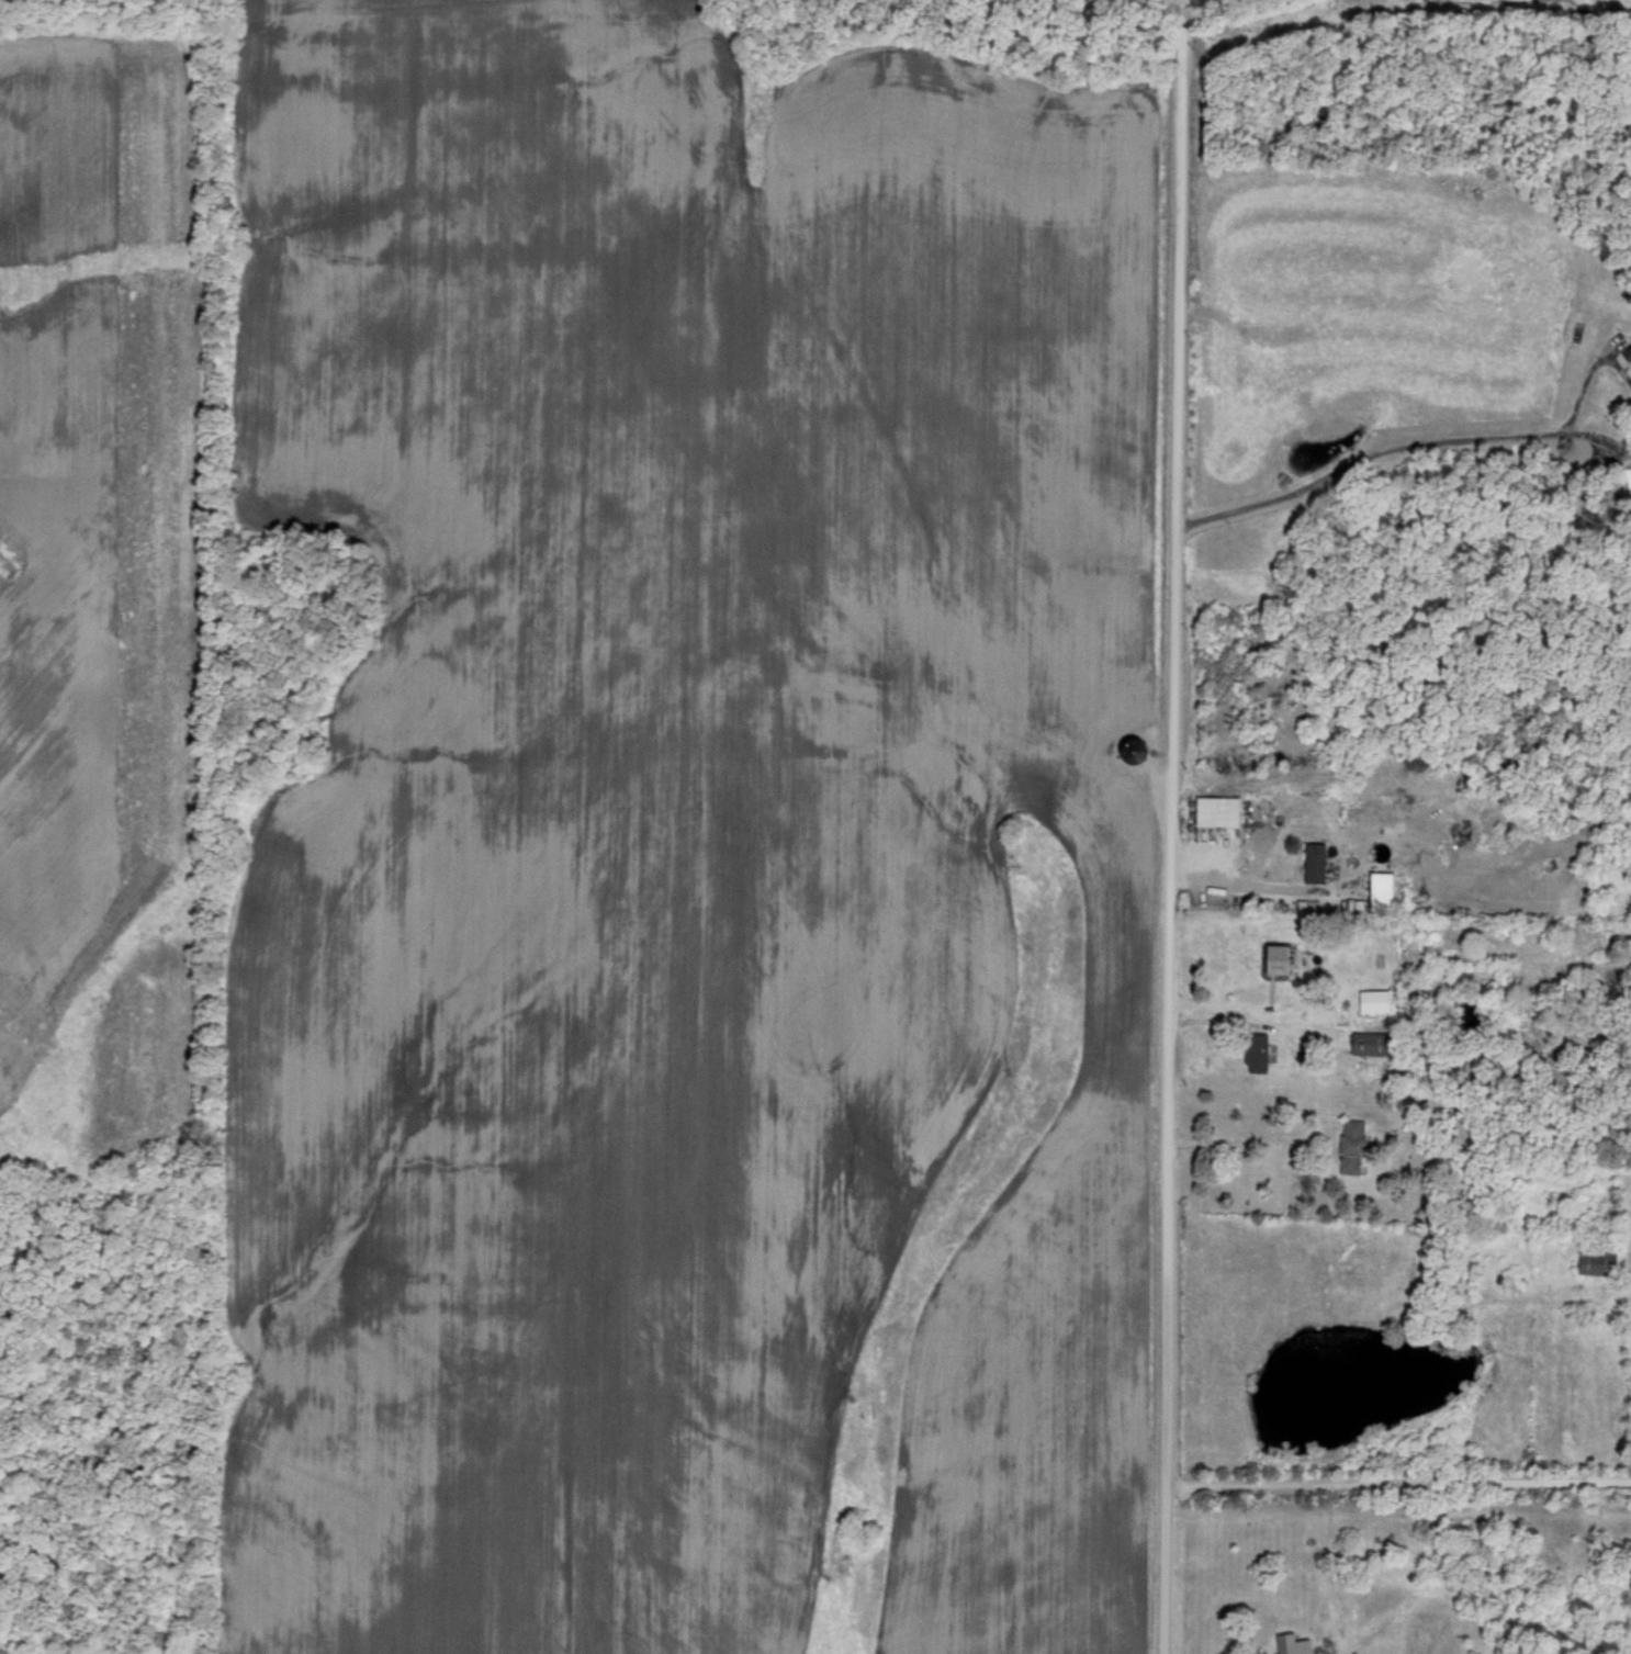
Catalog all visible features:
building: (1629, 351)
road: (1397, 450)
road: (1169, 826)
building: (1316, 860)
road: (1252, 886)
building: (1269, 957)
building: (1374, 999)
building: (1371, 1042)
building: (1257, 1049)
road: (1255, 1139)
building: (1354, 1144)
building: (1598, 1261)
road: (1397, 1484)
building: (1294, 1643)

